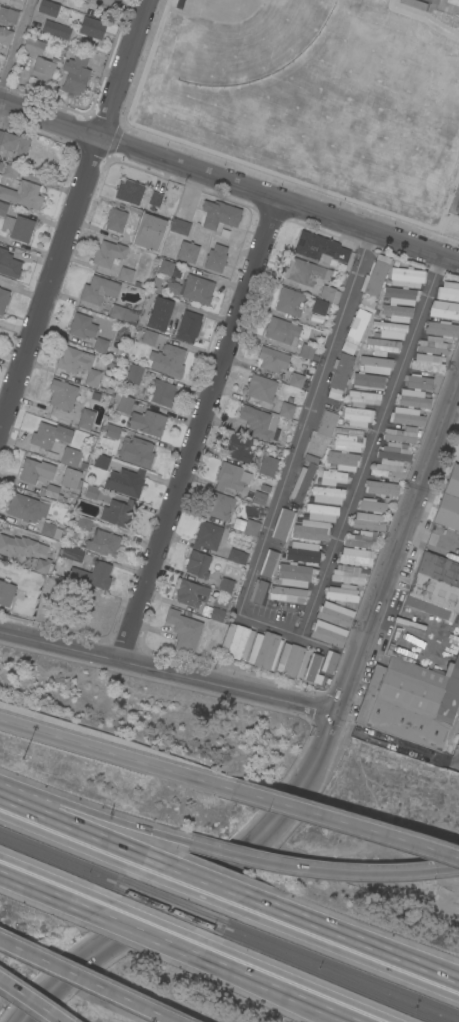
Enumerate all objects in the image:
building: (107, 2)
building: (48, 8)
building: (8, 16)
building: (92, 28)
building: (56, 29)
building: (5, 36)
building: (34, 46)
road: (17, 50)
building: (1, 60)
road: (125, 68)
building: (42, 72)
building: (75, 74)
building: (14, 144)
building: (10, 171)
road: (229, 182)
building: (129, 191)
building: (23, 195)
building: (155, 199)
building: (456, 207)
building: (3, 208)
building: (219, 215)
building: (119, 220)
building: (179, 226)
building: (18, 228)
building: (135, 240)
building: (320, 248)
building: (187, 252)
building: (107, 253)
building: (216, 258)
building: (9, 264)
building: (165, 267)
building: (125, 274)
building: (375, 276)
building: (311, 279)
road: (50, 285)
building: (404, 285)
building: (192, 289)
building: (98, 290)
building: (448, 291)
building: (3, 300)
building: (368, 303)
building: (298, 304)
building: (444, 310)
building: (159, 313)
building: (395, 313)
building: (122, 314)
building: (357, 324)
building: (82, 326)
building: (188, 327)
building: (390, 328)
building: (441, 328)
building: (282, 331)
building: (149, 337)
building: (383, 346)
building: (104, 347)
building: (307, 352)
building: (430, 354)
building: (272, 359)
building: (168, 360)
building: (78, 364)
building: (341, 371)
building: (382, 373)
building: (134, 374)
building: (296, 380)
building: (261, 388)
building: (162, 393)
building: (62, 394)
building: (362, 398)
building: (411, 401)
building: (123, 403)
building: (286, 410)
building: (357, 416)
building: (86, 419)
building: (147, 422)
building: (258, 422)
building: (326, 423)
road: (201, 429)
building: (111, 430)
building: (402, 434)
building: (50, 435)
building: (238, 448)
building: (345, 450)
building: (136, 451)
building: (70, 457)
building: (391, 461)
building: (101, 462)
building: (267, 465)
building: (39, 477)
building: (229, 477)
building: (332, 477)
building: (72, 480)
building: (126, 482)
building: (301, 485)
building: (381, 488)
building: (90, 491)
building: (326, 495)
building: (259, 498)
building: (449, 502)
building: (219, 505)
building: (372, 505)
building: (22, 508)
building: (121, 512)
building: (321, 512)
building: (369, 521)
building: (83, 523)
building: (283, 524)
building: (246, 526)
building: (50, 530)
building: (311, 530)
building: (207, 536)
building: (362, 540)
building: (103, 543)
road: (395, 544)
building: (20, 546)
building: (303, 552)
building: (70, 553)
building: (235, 555)
building: (356, 556)
building: (268, 563)
building: (197, 564)
building: (44, 567)
building: (348, 574)
building: (93, 575)
building: (294, 575)
building: (226, 582)
building: (434, 586)
building: (259, 591)
building: (6, 593)
building: (191, 593)
building: (342, 593)
building: (287, 594)
building: (213, 613)
building: (335, 614)
road: (272, 616)
building: (458, 629)
building: (183, 630)
building: (328, 633)
building: (236, 641)
building: (264, 650)
building: (292, 660)
building: (329, 661)
road: (167, 670)
building: (312, 678)
building: (410, 702)
road: (453, 732)
road: (110, 754)
road: (94, 812)
road: (340, 822)
road: (78, 831)
railway: (64, 855)
railway: (60, 866)
road: (322, 870)
road: (199, 883)
road: (207, 883)
road: (47, 889)
railway: (177, 901)
railway: (171, 911)
road: (134, 925)
road: (358, 944)
railway: (343, 968)
road: (254, 976)
railway: (329, 976)
road: (85, 981)
road: (29, 1002)
road: (346, 1016)

